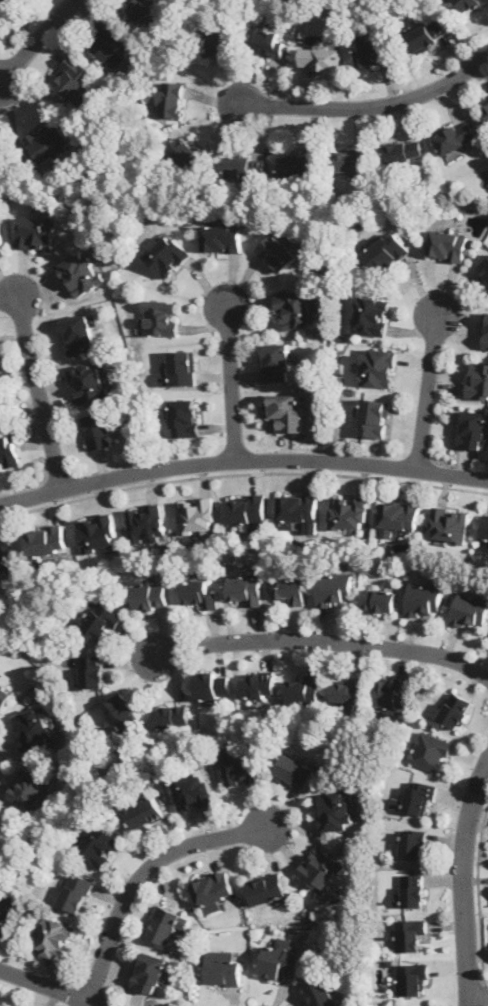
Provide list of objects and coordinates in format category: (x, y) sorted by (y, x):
building: (13, 2)
building: (467, 4)
building: (141, 8)
building: (428, 33)
road: (35, 40)
building: (107, 40)
building: (217, 41)
building: (266, 42)
building: (373, 51)
building: (320, 58)
building: (73, 77)
building: (173, 97)
road: (365, 105)
building: (485, 107)
building: (455, 135)
building: (51, 142)
building: (404, 150)
building: (188, 154)
building: (352, 159)
building: (299, 166)
building: (247, 167)
building: (36, 231)
building: (222, 238)
building: (1, 240)
building: (447, 244)
building: (386, 250)
building: (277, 251)
building: (169, 255)
building: (484, 267)
building: (82, 272)
building: (296, 307)
building: (372, 315)
building: (160, 317)
building: (485, 330)
building: (79, 333)
building: (278, 360)
building: (379, 366)
building: (181, 367)
road: (232, 379)
building: (478, 379)
road: (37, 382)
building: (88, 382)
road: (428, 387)
building: (286, 410)
building: (374, 416)
building: (186, 417)
building: (99, 430)
building: (473, 430)
building: (8, 450)
road: (242, 459)
road: (242, 471)
building: (248, 508)
building: (299, 509)
building: (350, 510)
building: (197, 516)
building: (397, 516)
building: (146, 523)
building: (449, 523)
building: (485, 528)
building: (99, 533)
building: (47, 539)
building: (8, 554)
building: (246, 588)
building: (291, 589)
building: (335, 589)
building: (200, 593)
building: (150, 595)
building: (378, 599)
building: (424, 599)
building: (470, 609)
building: (100, 622)
road: (319, 639)
building: (92, 671)
building: (213, 684)
building: (258, 684)
building: (303, 688)
building: (347, 689)
building: (392, 691)
building: (5, 695)
building: (455, 709)
building: (122, 710)
building: (172, 716)
building: (36, 727)
building: (431, 750)
building: (241, 766)
building: (295, 770)
building: (32, 789)
building: (194, 791)
building: (417, 797)
building: (337, 810)
building: (144, 813)
building: (0, 829)
building: (413, 843)
building: (101, 846)
building: (321, 868)
road: (141, 873)
road: (464, 880)
building: (267, 886)
building: (413, 889)
building: (212, 890)
building: (76, 891)
road: (478, 893)
building: (5, 914)
building: (163, 924)
building: (411, 934)
building: (56, 937)
building: (281, 959)
building: (224, 967)
building: (151, 971)
building: (412, 978)
road: (51, 987)
building: (321, 993)
road: (484, 994)
road: (478, 996)

